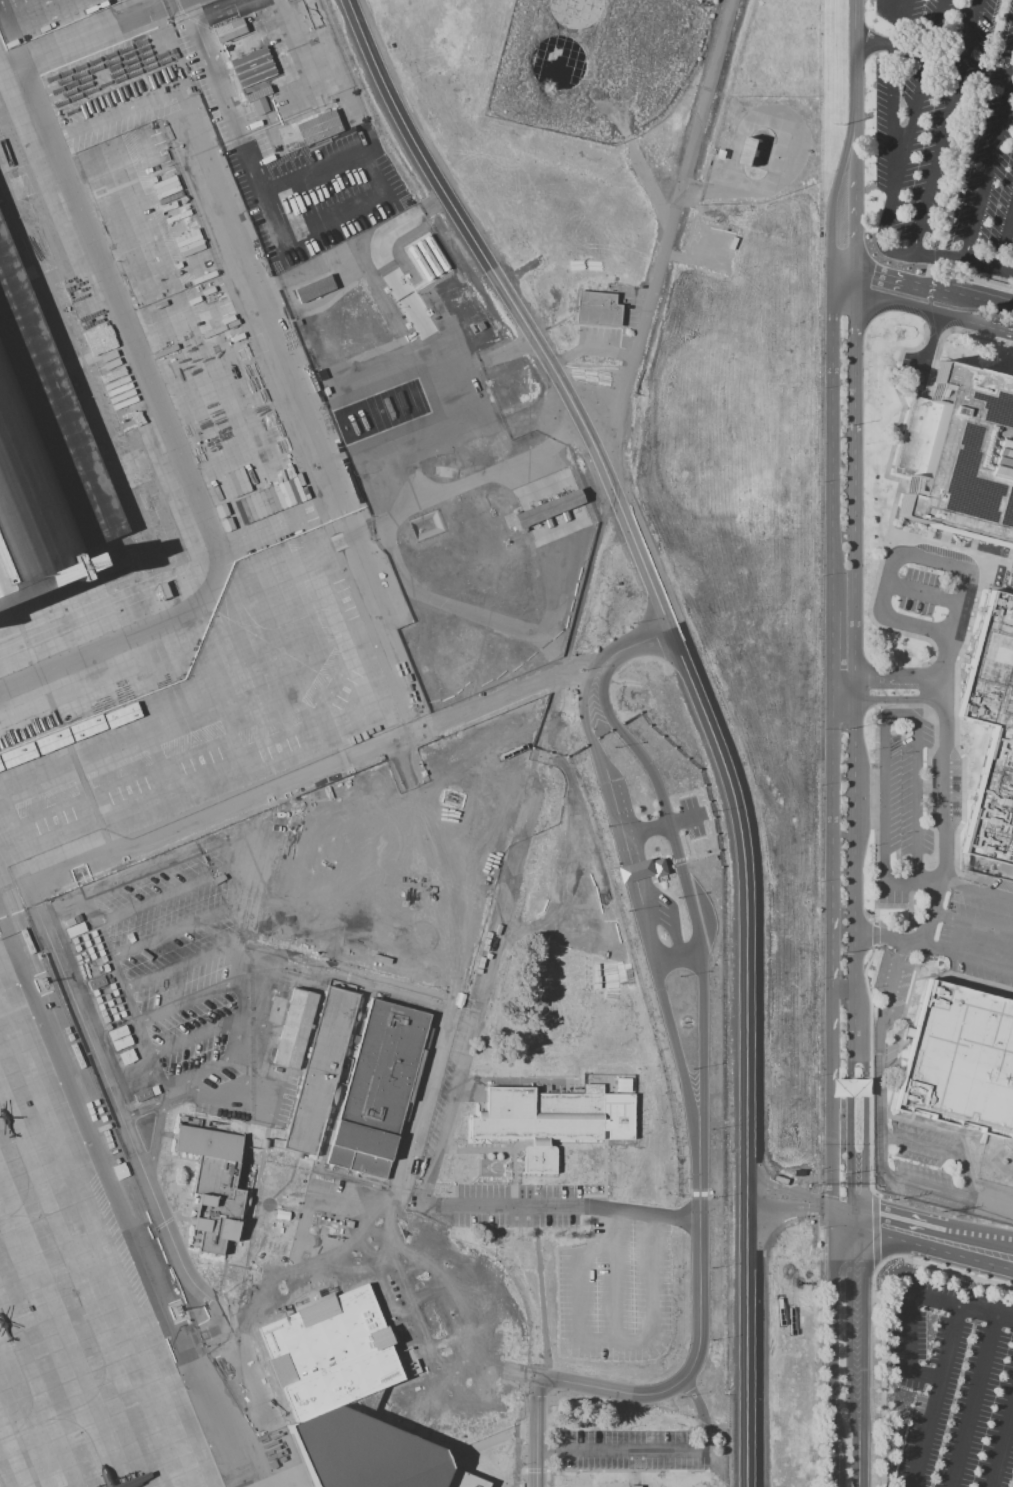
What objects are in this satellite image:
building: (2, 0)
road: (888, 1)
road: (905, 5)
parking lot: (179, 6)
road: (22, 8)
road: (938, 9)
road: (976, 15)
parking lot: (40, 16)
road: (930, 17)
road: (897, 28)
building: (227, 30)
road: (935, 57)
road: (857, 59)
building: (251, 67)
building: (255, 94)
road: (891, 99)
building: (258, 106)
road: (918, 106)
building: (317, 127)
parking lot: (950, 135)
road: (857, 149)
building: (747, 156)
road: (936, 159)
road: (987, 167)
parking lot: (292, 170)
road: (436, 181)
road: (683, 195)
road: (891, 199)
road: (464, 201)
road: (433, 203)
road: (837, 206)
road: (465, 208)
road: (441, 210)
road: (455, 214)
road: (857, 225)
road: (1005, 239)
road: (894, 252)
road: (962, 261)
road: (846, 271)
road: (895, 278)
road: (857, 283)
building: (313, 288)
road: (845, 296)
road: (973, 298)
building: (596, 308)
road: (925, 311)
road: (1003, 331)
road: (833, 345)
road: (505, 348)
road: (592, 352)
road: (565, 359)
road: (542, 363)
road: (585, 364)
road: (857, 365)
road: (632, 366)
road: (577, 376)
road: (605, 377)
road: (568, 380)
road: (569, 381)
road: (616, 386)
road: (699, 409)
road: (695, 424)
road: (723, 428)
road: (693, 441)
building: (968, 453)
road: (693, 454)
airport hangar: (41, 456)
building: (41, 456)
road: (711, 456)
airport apron: (160, 470)
building: (153, 482)
road: (639, 496)
road: (616, 497)
road: (773, 540)
road: (661, 552)
road: (933, 561)
road: (887, 582)
road: (921, 594)
road: (956, 601)
road: (916, 625)
parking lot: (746, 628)
road: (640, 641)
road: (831, 654)
road: (725, 665)
road: (772, 665)
road: (786, 666)
road: (794, 666)
road: (802, 666)
road: (593, 668)
road: (889, 676)
building: (786, 678)
road: (793, 698)
road: (773, 699)
road: (889, 699)
road: (901, 718)
building: (121, 720)
building: (87, 732)
road: (804, 734)
road: (857, 740)
building: (994, 740)
building: (52, 746)
building: (18, 760)
building: (1, 772)
road: (308, 775)
road: (943, 790)
road: (884, 799)
road: (917, 805)
parking lot: (690, 817)
road: (663, 824)
road: (193, 846)
building: (657, 867)
building: (633, 870)
road: (631, 871)
road: (911, 882)
road: (181, 887)
road: (977, 891)
road: (61, 902)
airport: (303, 914)
road: (182, 926)
road: (972, 926)
road: (244, 936)
road: (105, 938)
road: (907, 940)
parking lot: (190, 953)
road: (676, 957)
road: (985, 960)
road: (184, 964)
building: (96, 983)
building: (42, 984)
road: (831, 987)
road: (749, 996)
road: (187, 1000)
road: (786, 1006)
building: (295, 1029)
building: (117, 1032)
road: (241, 1036)
road: (195, 1037)
building: (122, 1043)
road: (146, 1046)
building: (77, 1055)
building: (960, 1061)
road: (215, 1063)
road: (126, 1064)
building: (322, 1072)
road: (175, 1079)
road: (192, 1081)
building: (624, 1086)
road: (233, 1087)
building: (849, 1087)
road: (881, 1088)
building: (379, 1090)
building: (142, 1095)
road: (142, 1110)
road: (699, 1120)
building: (541, 1121)
building: (103, 1128)
road: (849, 1134)
road: (864, 1134)
road: (153, 1139)
road: (832, 1140)
road: (918, 1143)
building: (264, 1144)
building: (118, 1158)
road: (962, 1174)
building: (214, 1184)
road: (150, 1188)
road: (929, 1188)
road: (818, 1201)
road: (471, 1204)
road: (991, 1204)
parking lot: (515, 1205)
road: (811, 1218)
road: (841, 1223)
road: (857, 1224)
road: (904, 1231)
road: (332, 1250)
road: (979, 1250)
parking lot: (346, 1257)
road: (834, 1257)
road: (849, 1259)
road: (864, 1259)
road: (292, 1260)
road: (367, 1260)
road: (246, 1268)
road: (948, 1270)
road: (224, 1271)
road: (835, 1299)
road: (864, 1299)
airport apron: (75, 1301)
road: (849, 1304)
road: (835, 1308)
road: (864, 1308)
road: (960, 1308)
road: (909, 1332)
road: (698, 1340)
building: (237, 1346)
road: (882, 1369)
road: (925, 1374)
road: (835, 1379)
road: (849, 1382)
parking lot: (947, 1386)
road: (936, 1397)
road: (864, 1400)
building: (265, 1402)
road: (972, 1402)
road: (700, 1411)
building: (272, 1419)
road: (535, 1432)
road: (1001, 1444)
road: (618, 1449)
road: (524, 1450)
parking lot: (629, 1450)
building: (368, 1456)
road: (835, 1466)
road: (536, 1471)
road: (551, 1471)
road: (624, 1471)
road: (524, 1478)
airport apron: (290, 1479)
building: (633, 1486)

